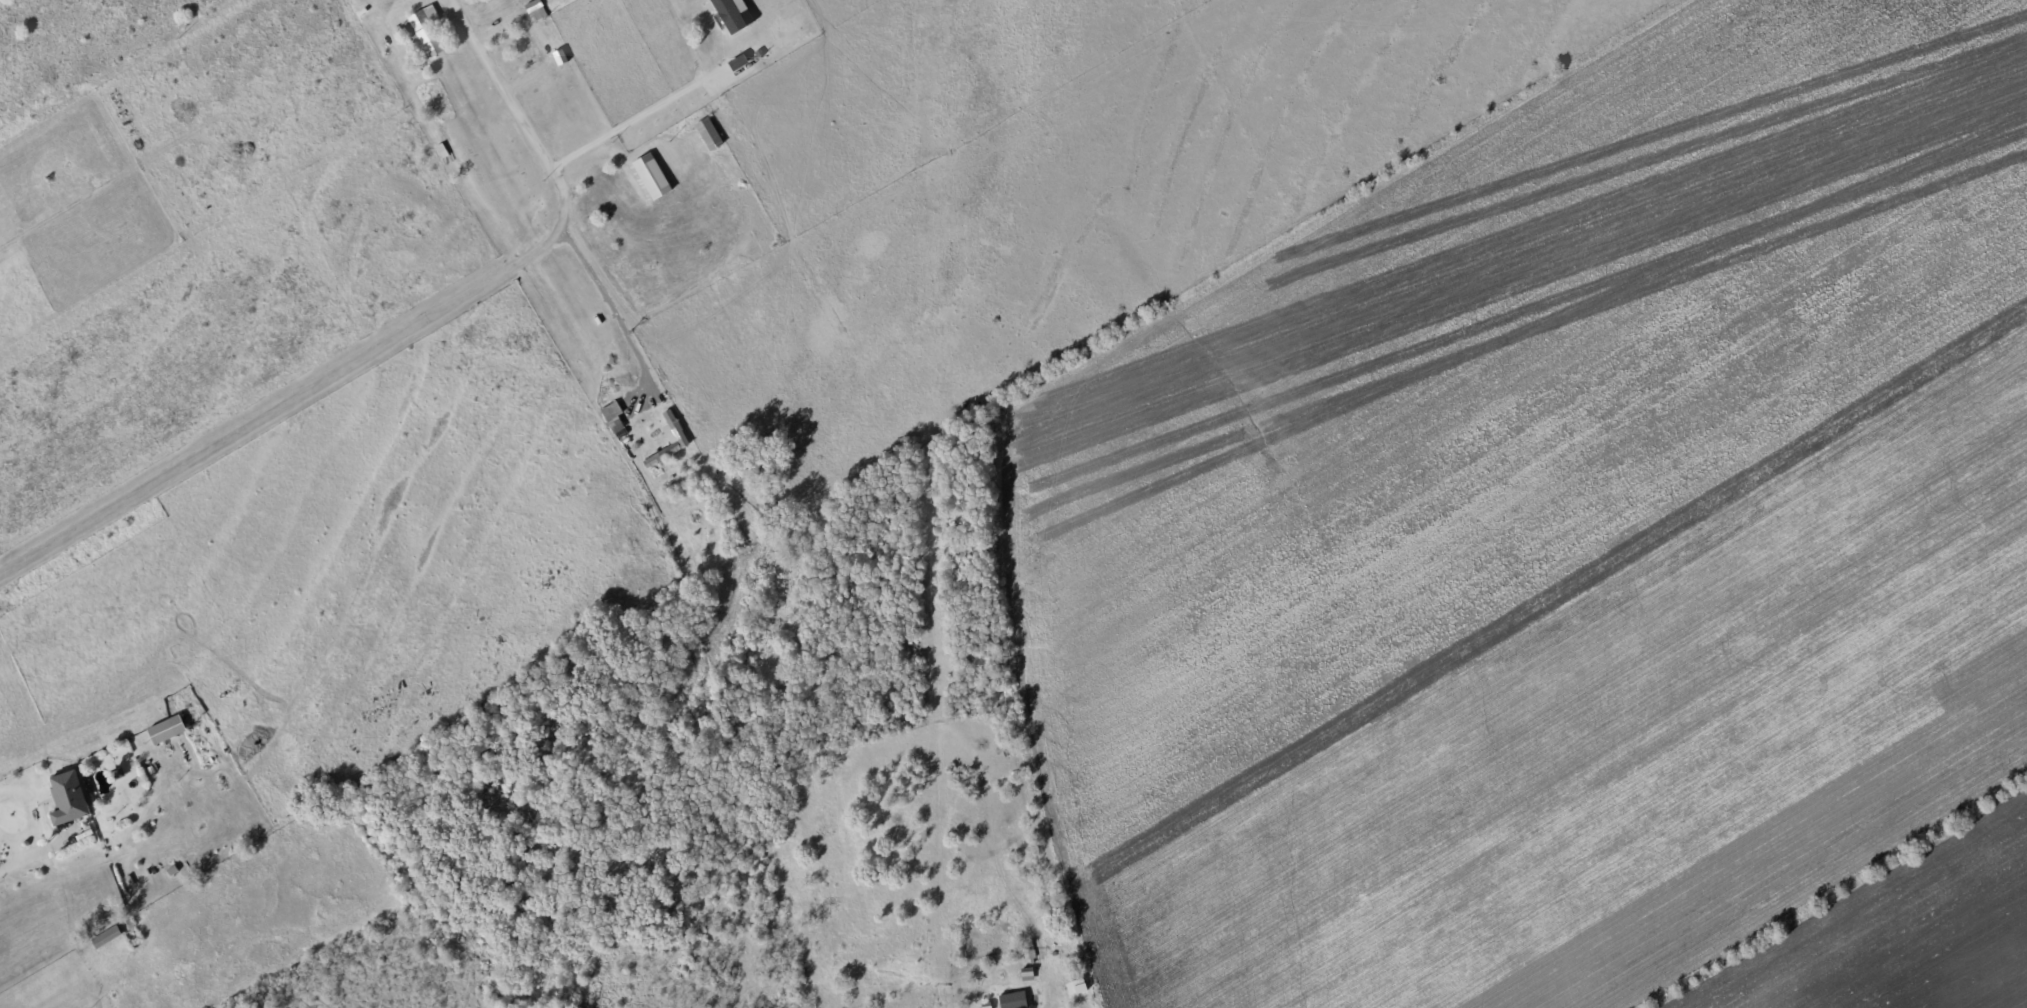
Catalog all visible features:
building: (537, 11)
building: (731, 16)
building: (423, 34)
building: (710, 135)
building: (443, 152)
building: (653, 177)
road: (612, 310)
road: (396, 337)
building: (614, 417)
building: (676, 427)
building: (168, 730)
building: (70, 799)
road: (18, 862)
building: (107, 937)
building: (1028, 974)
building: (1078, 987)
building: (1015, 1000)

